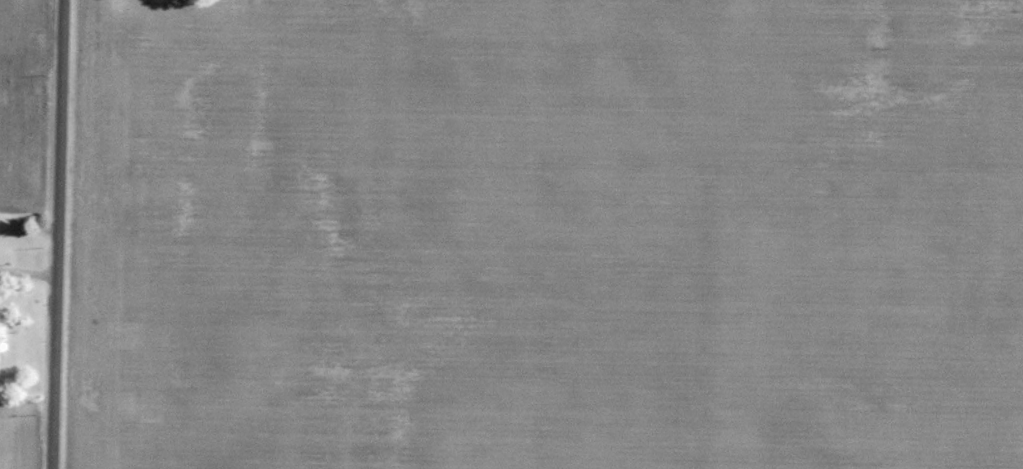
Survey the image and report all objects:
road: (27, 227)
road: (55, 234)
road: (27, 272)

